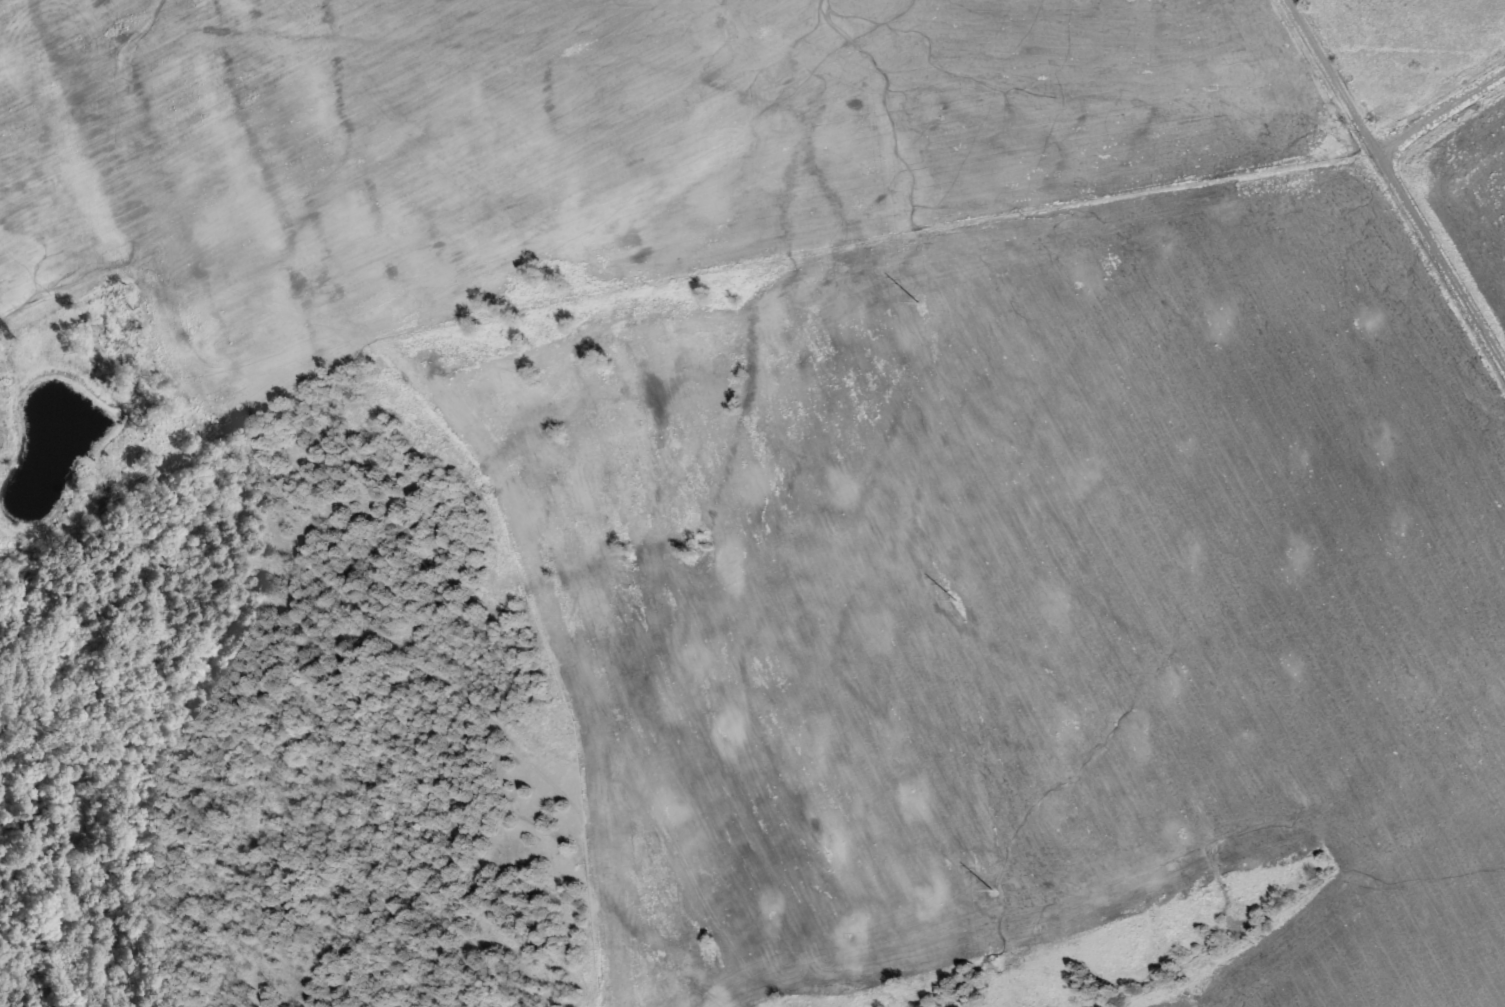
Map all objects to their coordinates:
road: (1333, 76)
road: (1440, 114)
road: (1439, 266)
power tower: (918, 300)
power tower: (954, 596)
power tower: (991, 887)

